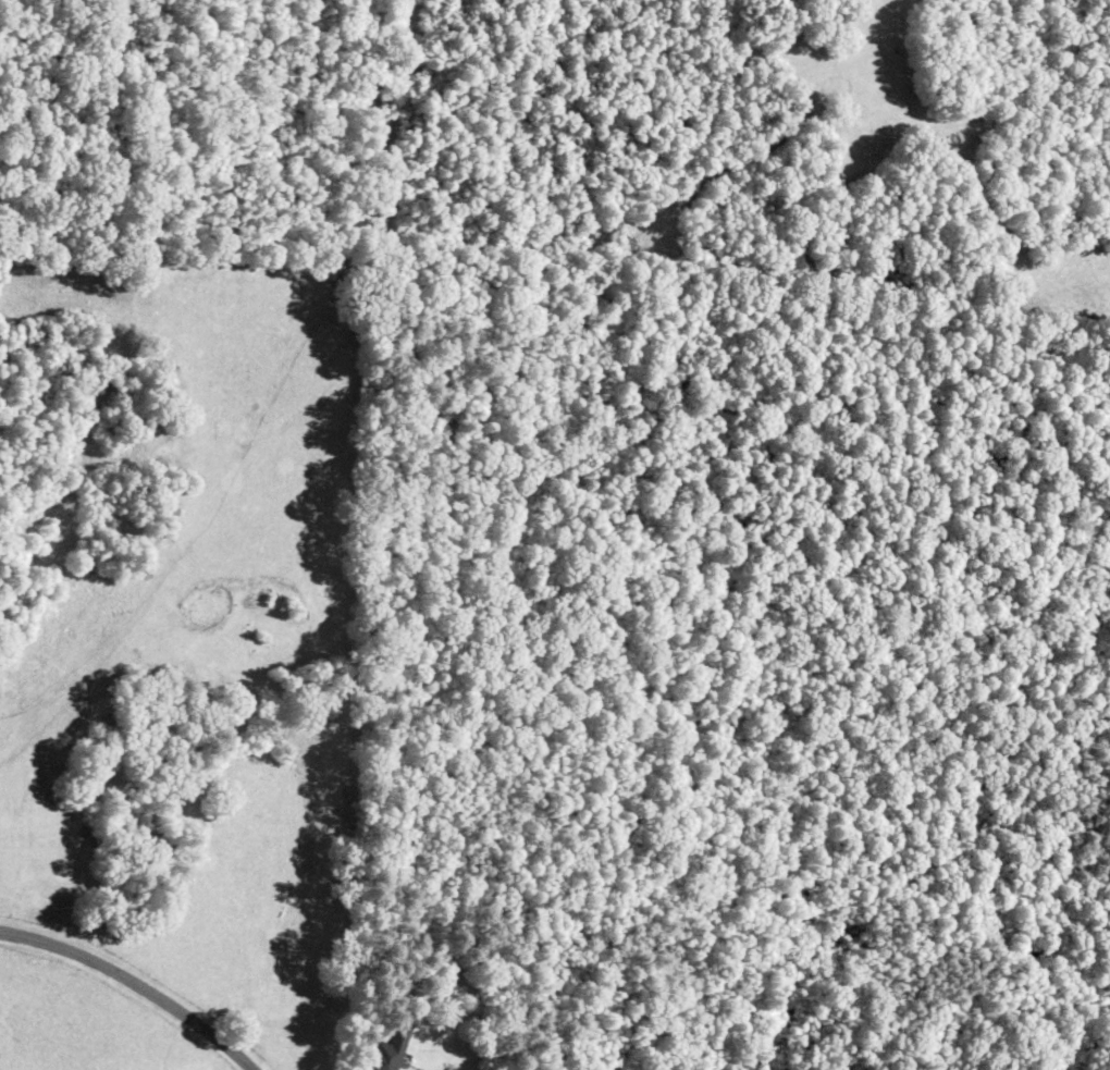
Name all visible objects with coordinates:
road: (114, 988)

